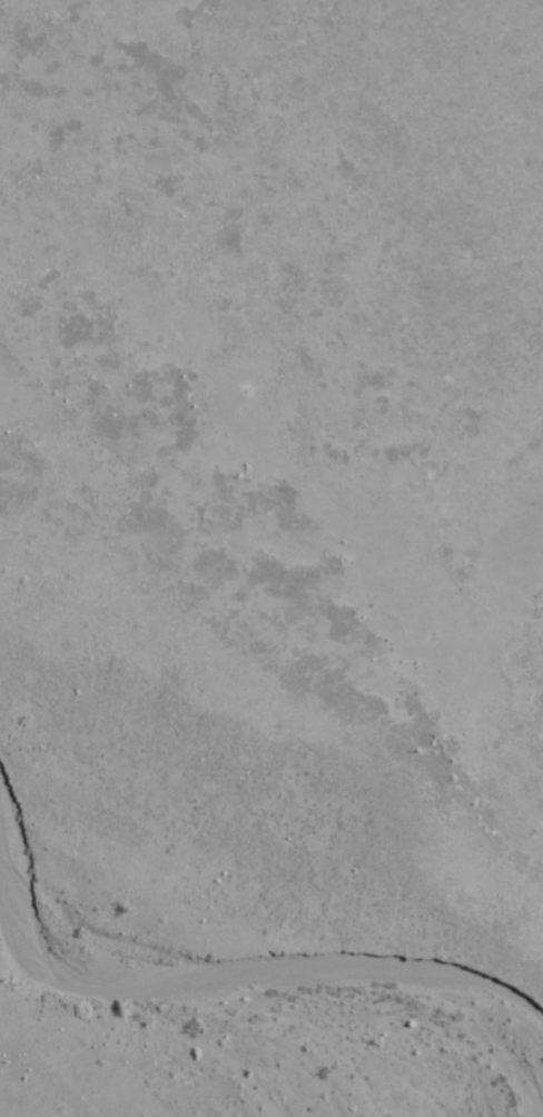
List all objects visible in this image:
river: (167, 1006)

